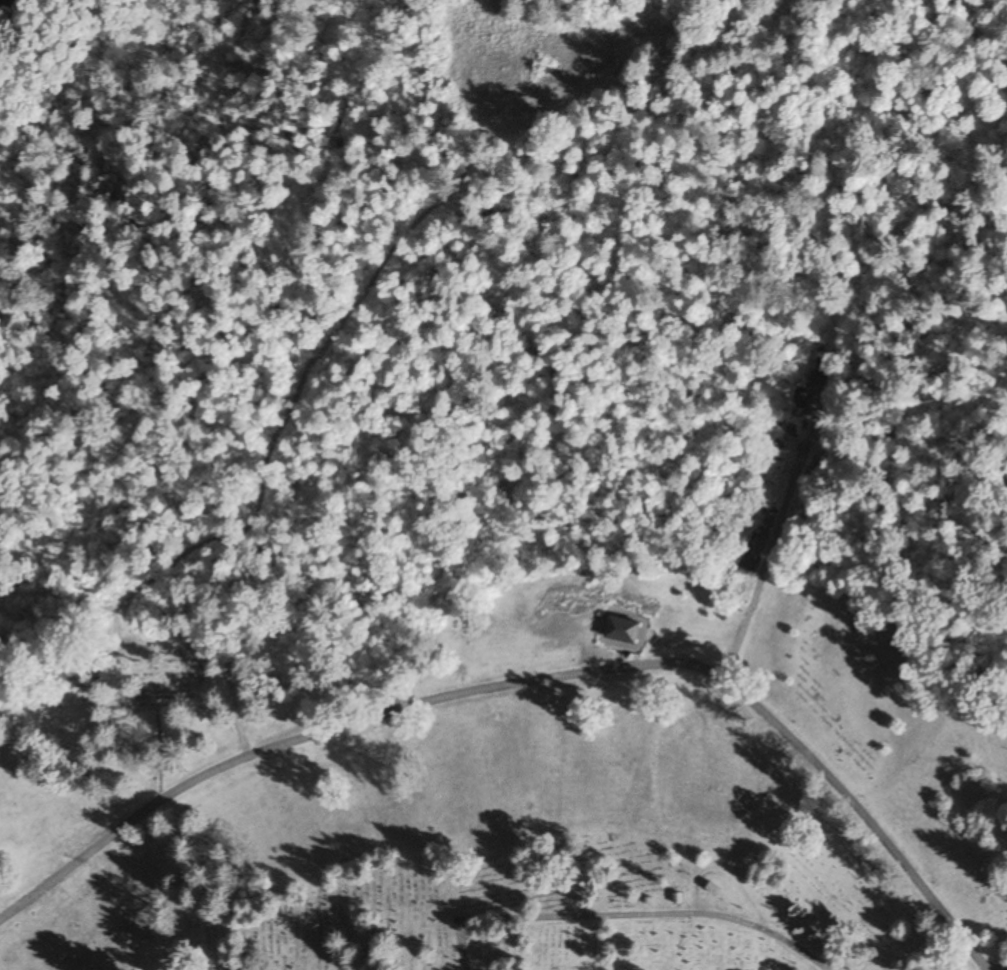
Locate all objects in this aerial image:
road: (759, 584)
building: (626, 632)
road: (530, 679)
park: (520, 776)
road: (624, 915)

